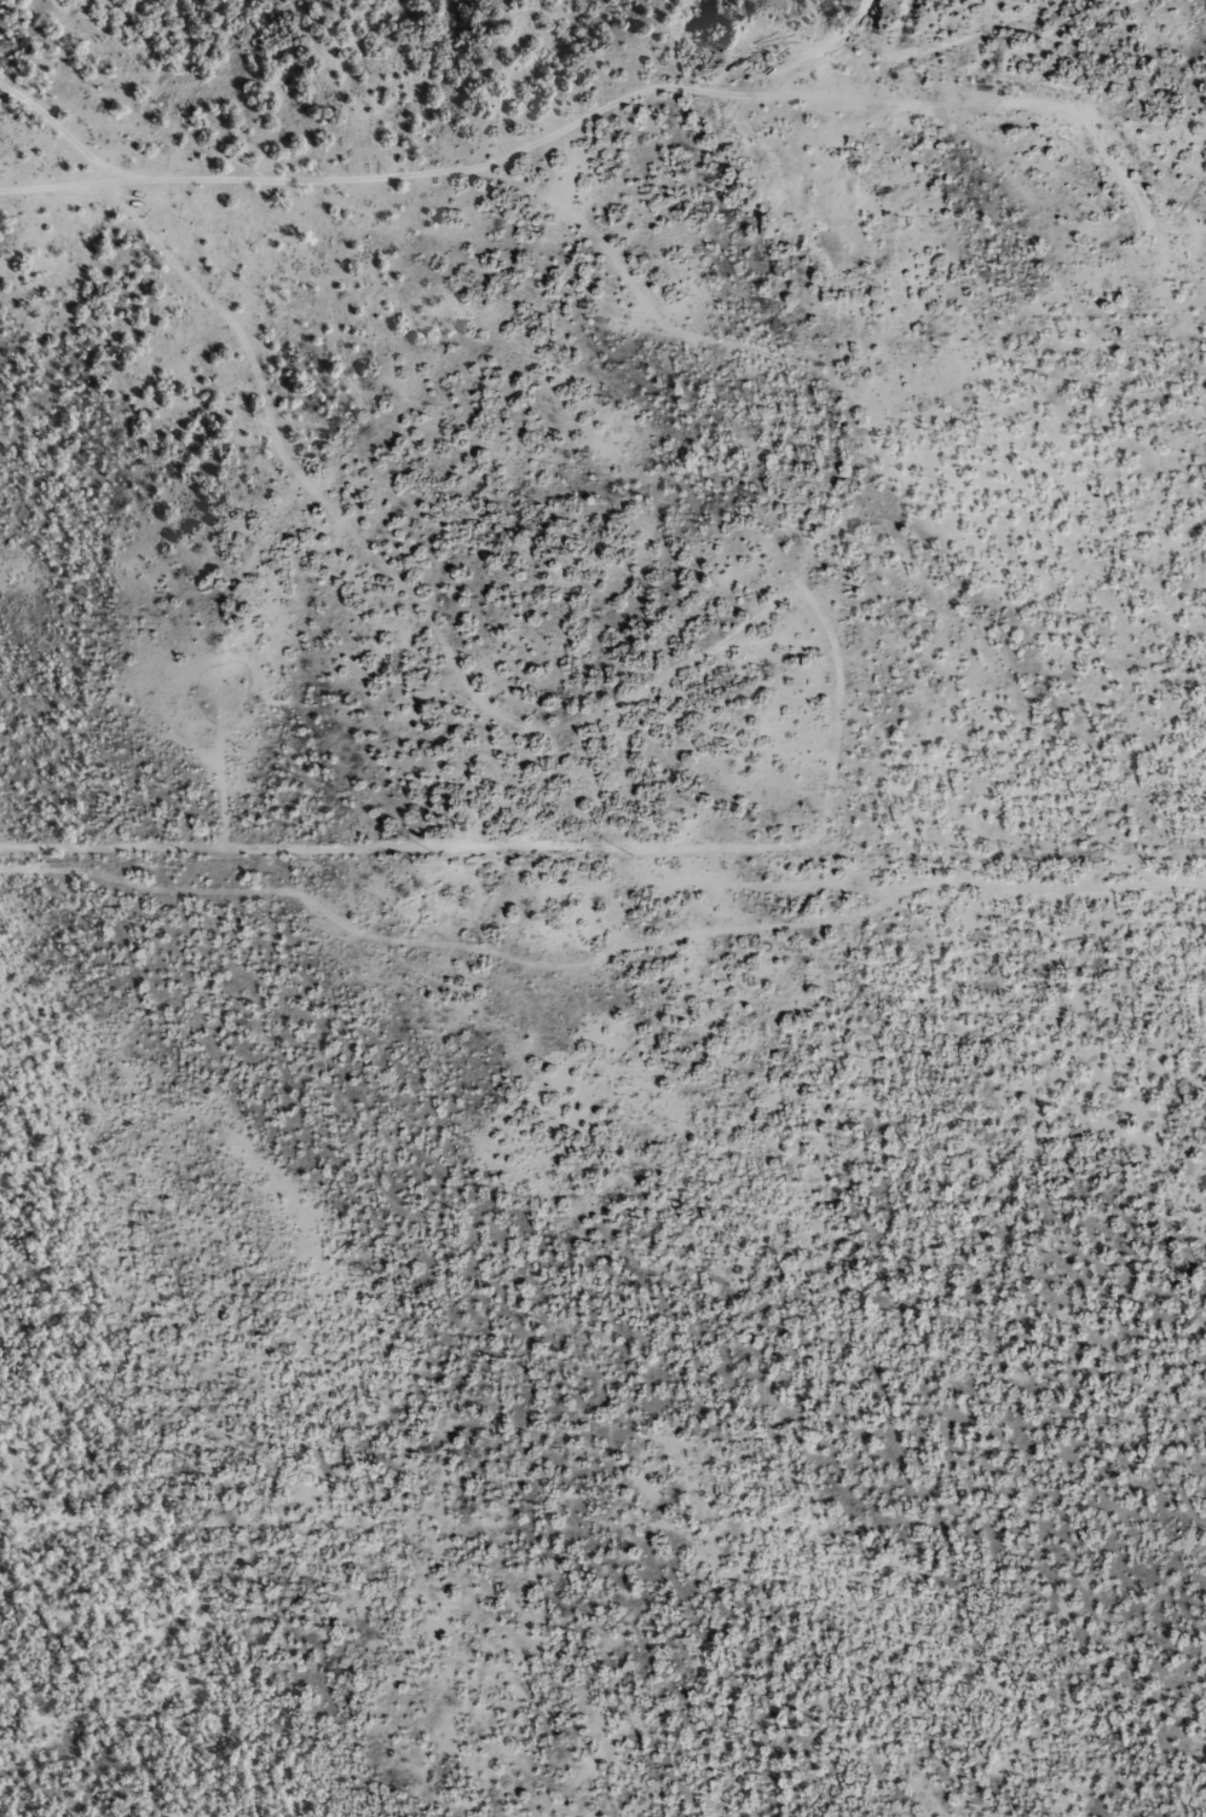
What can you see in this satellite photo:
building: (859, 50)

